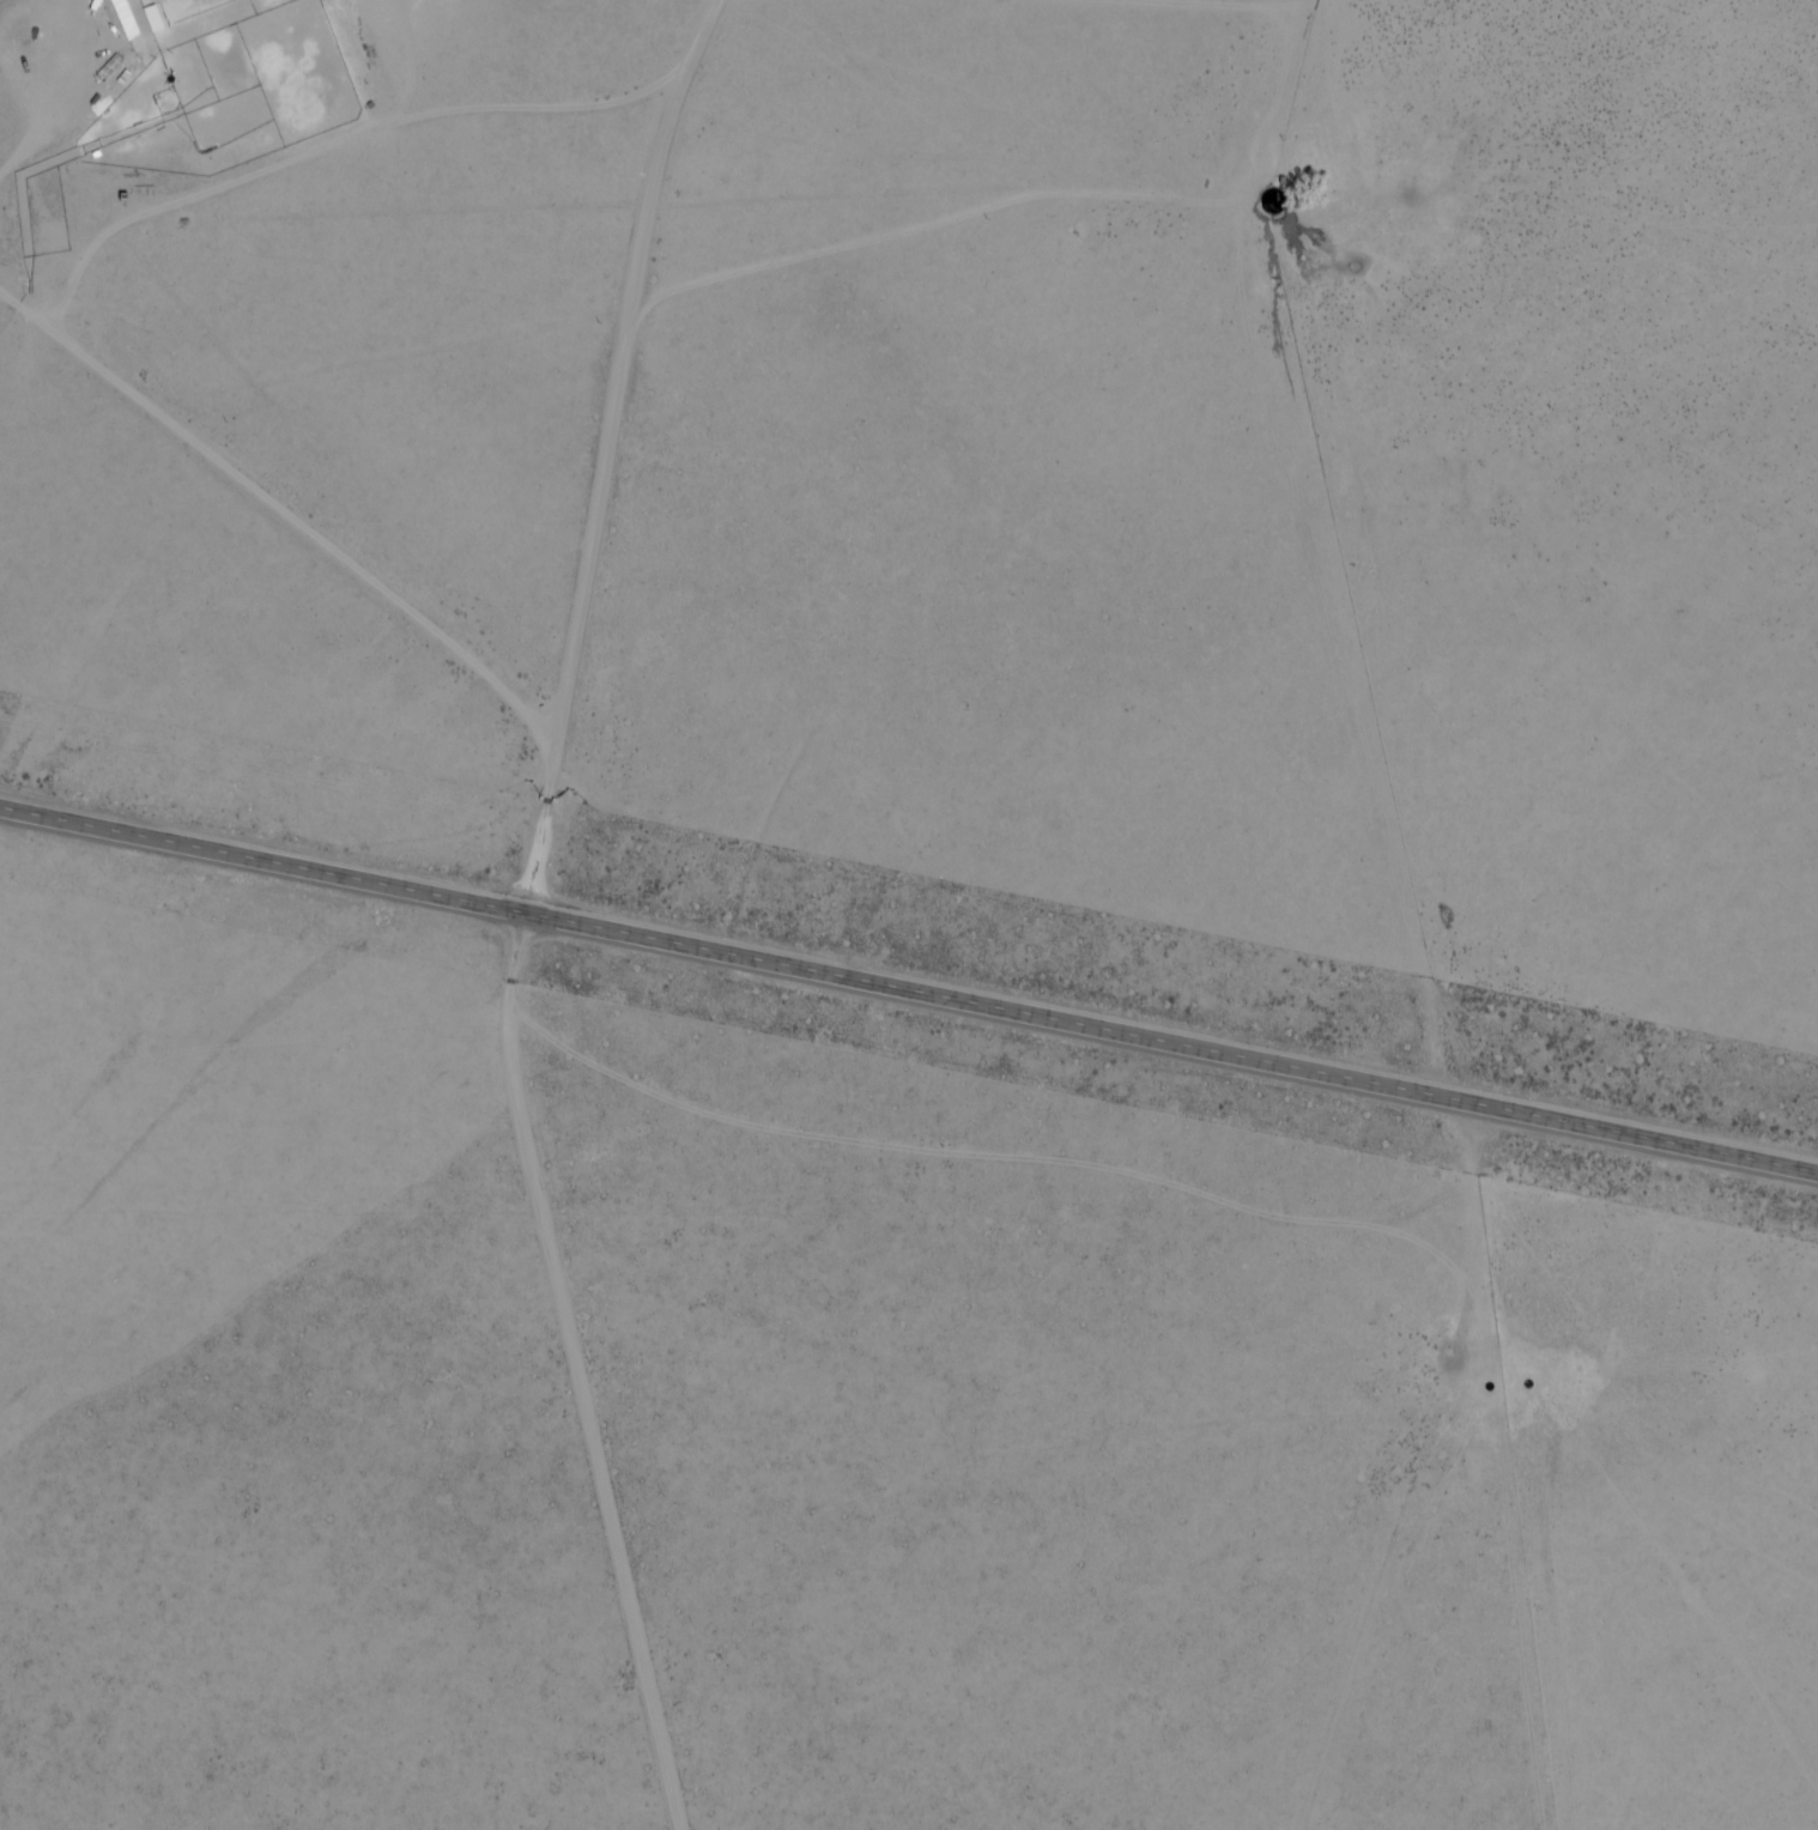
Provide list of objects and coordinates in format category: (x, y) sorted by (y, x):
road: (1214, 4)
road: (1333, 5)
road: (1019, 205)
road: (59, 299)
road: (20, 307)
road: (613, 453)
road: (908, 992)
road: (583, 1372)

